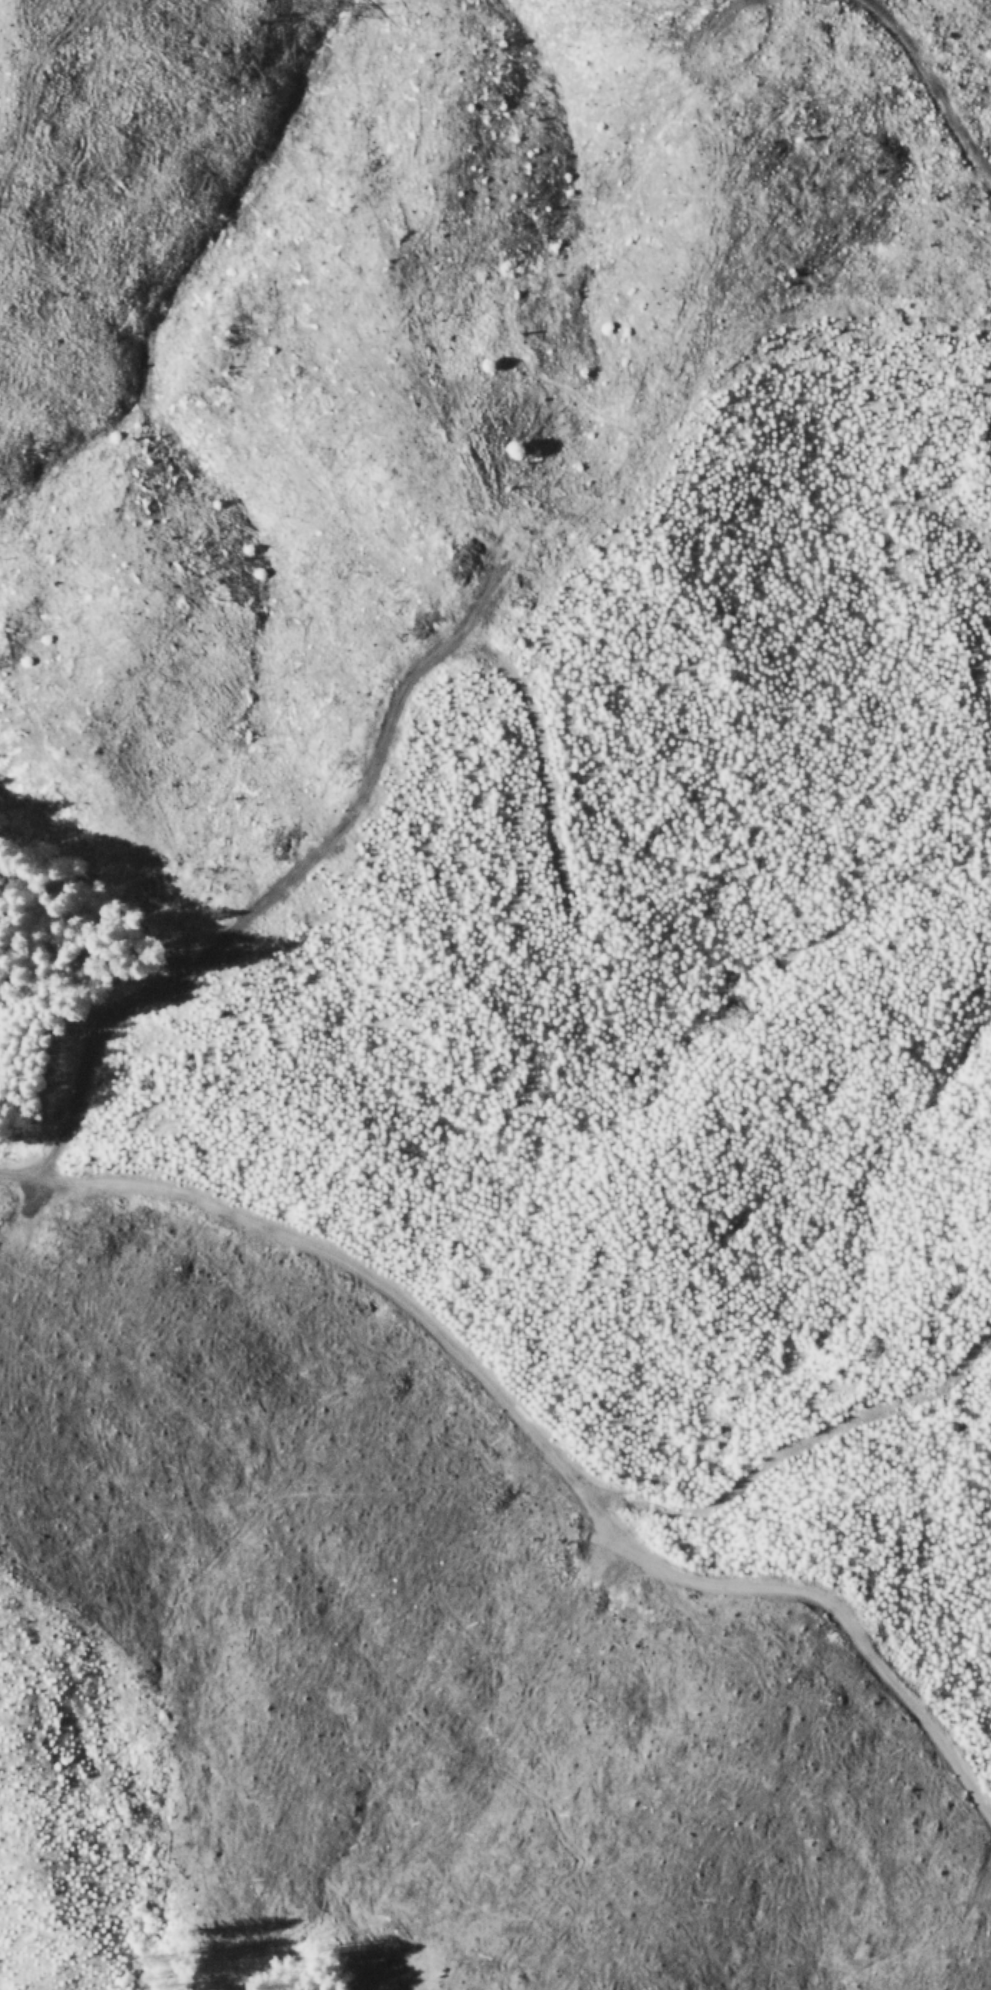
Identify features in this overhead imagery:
road: (342, 813)
road: (538, 1437)
road: (795, 1445)

